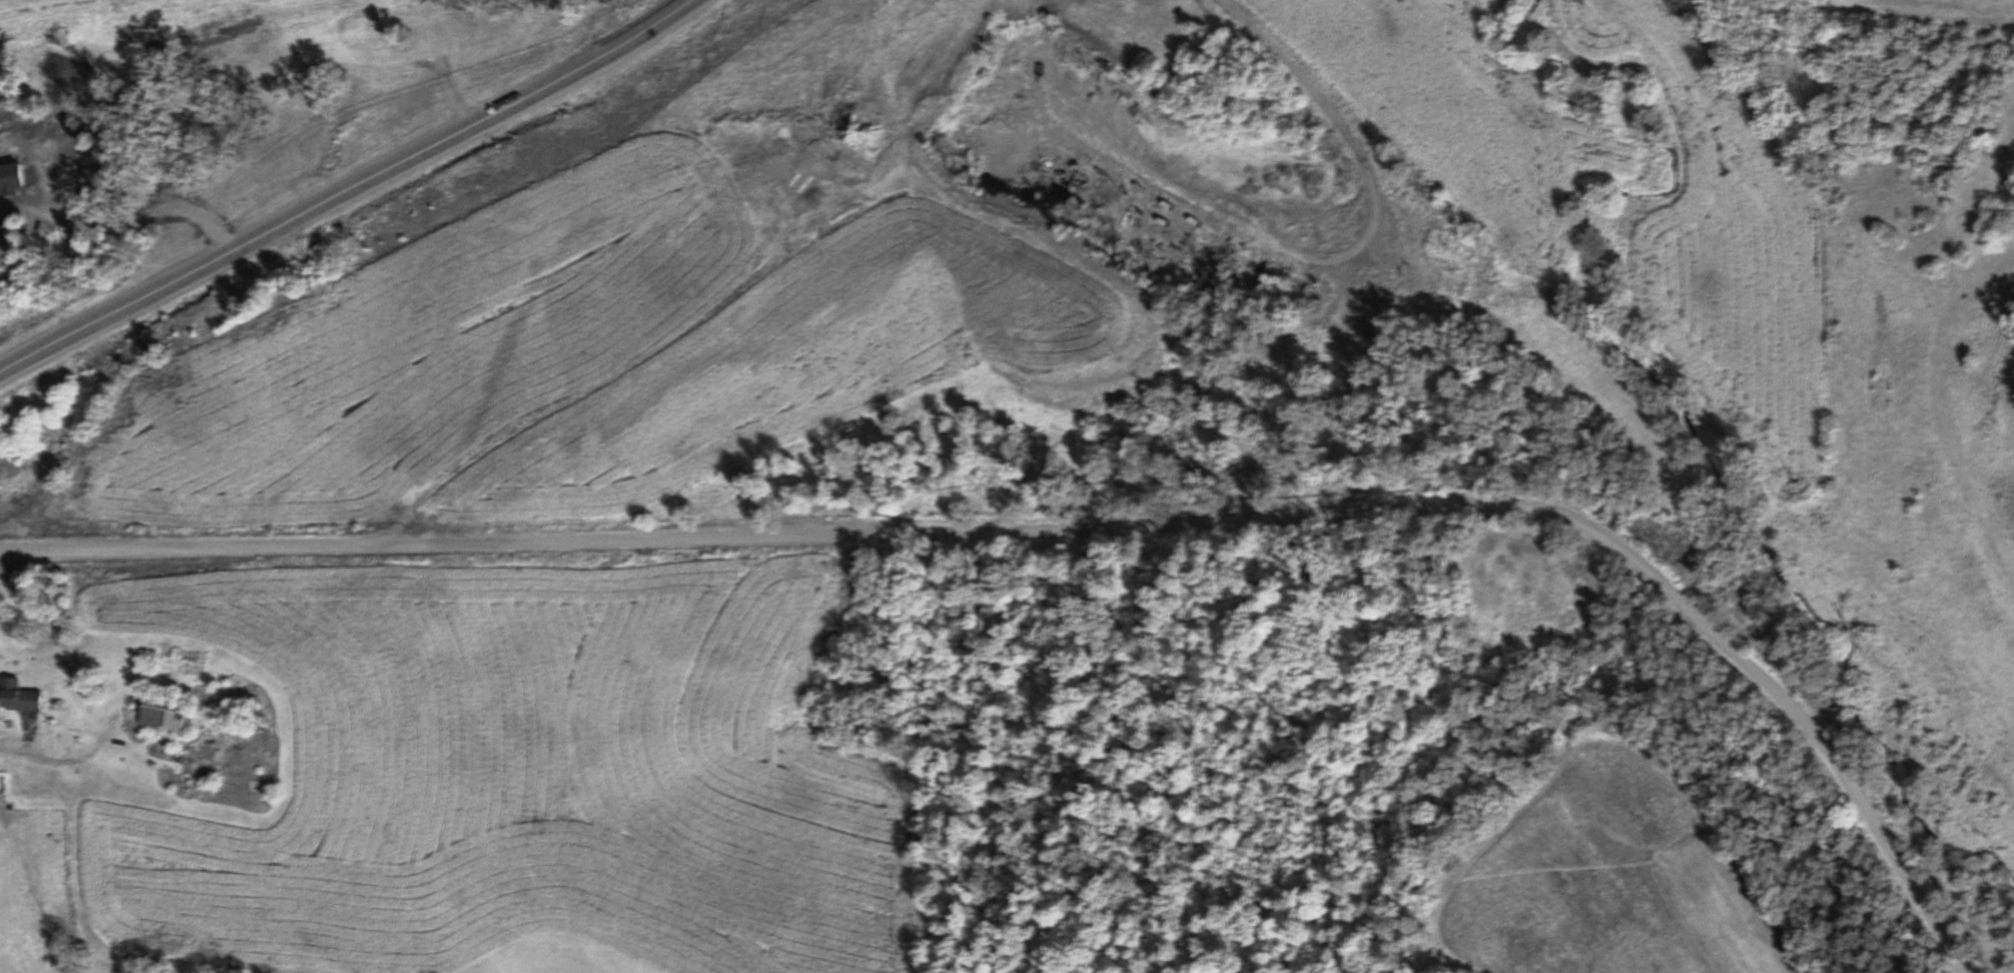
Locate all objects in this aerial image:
quarry: (1208, 190)
road: (351, 192)
road: (1368, 211)
road: (1351, 381)
road: (1090, 528)
building: (18, 696)
building: (163, 713)

